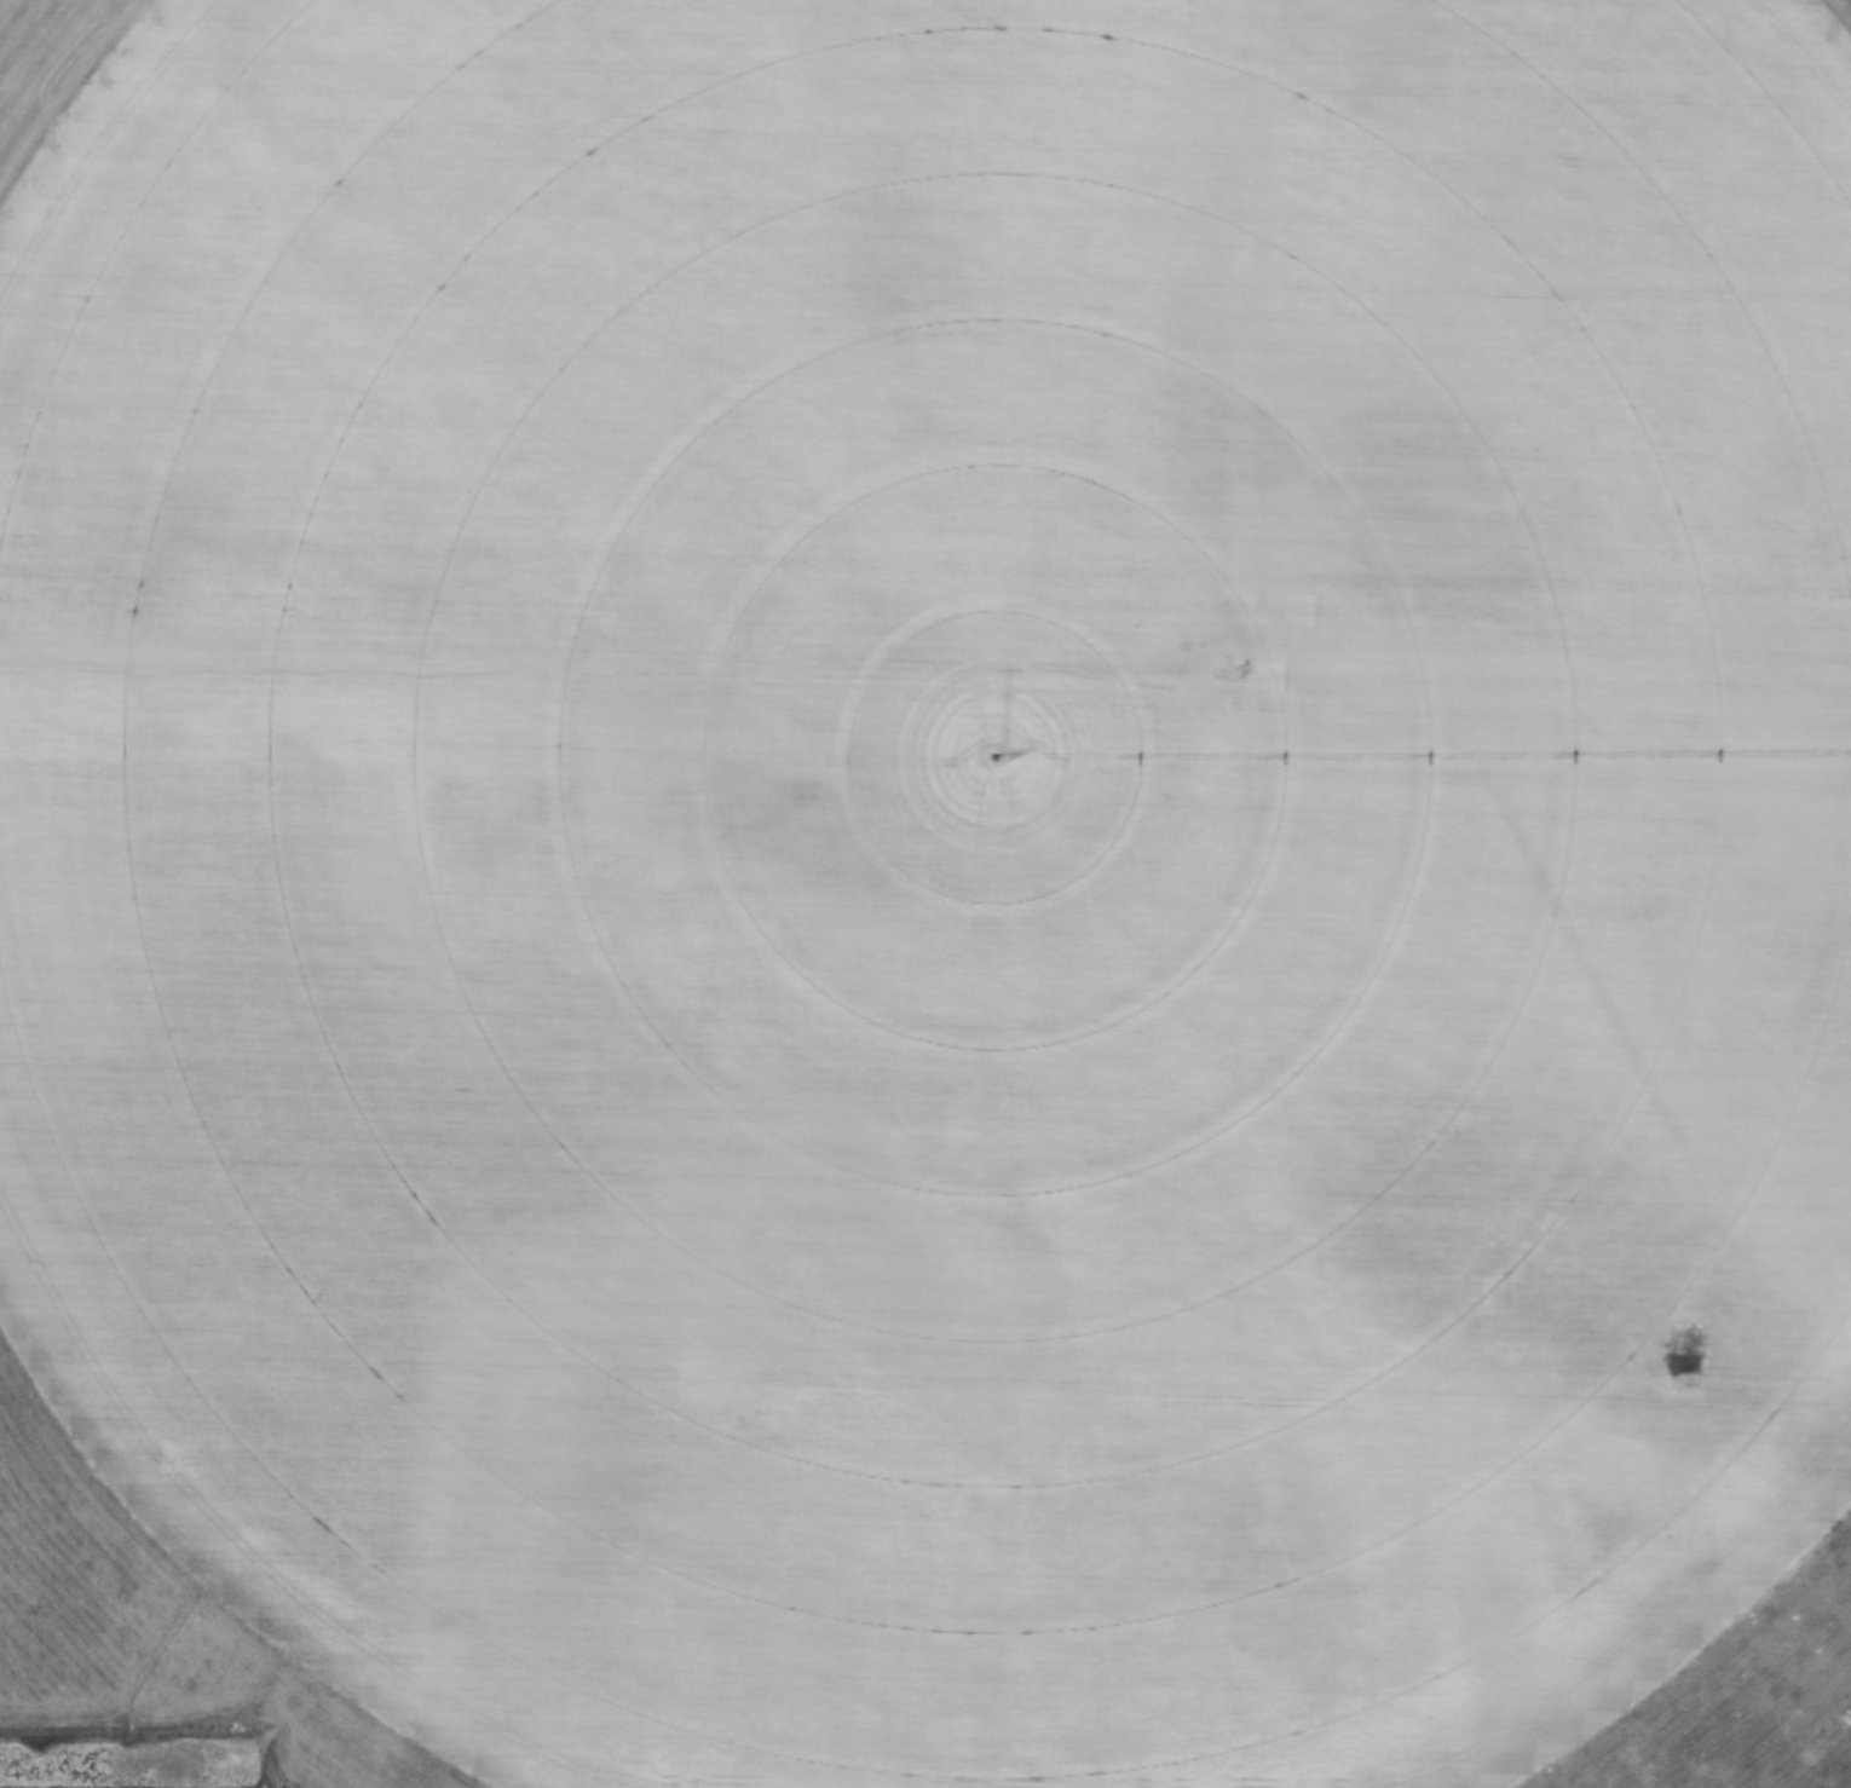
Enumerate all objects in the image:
crop: (935, 860)

